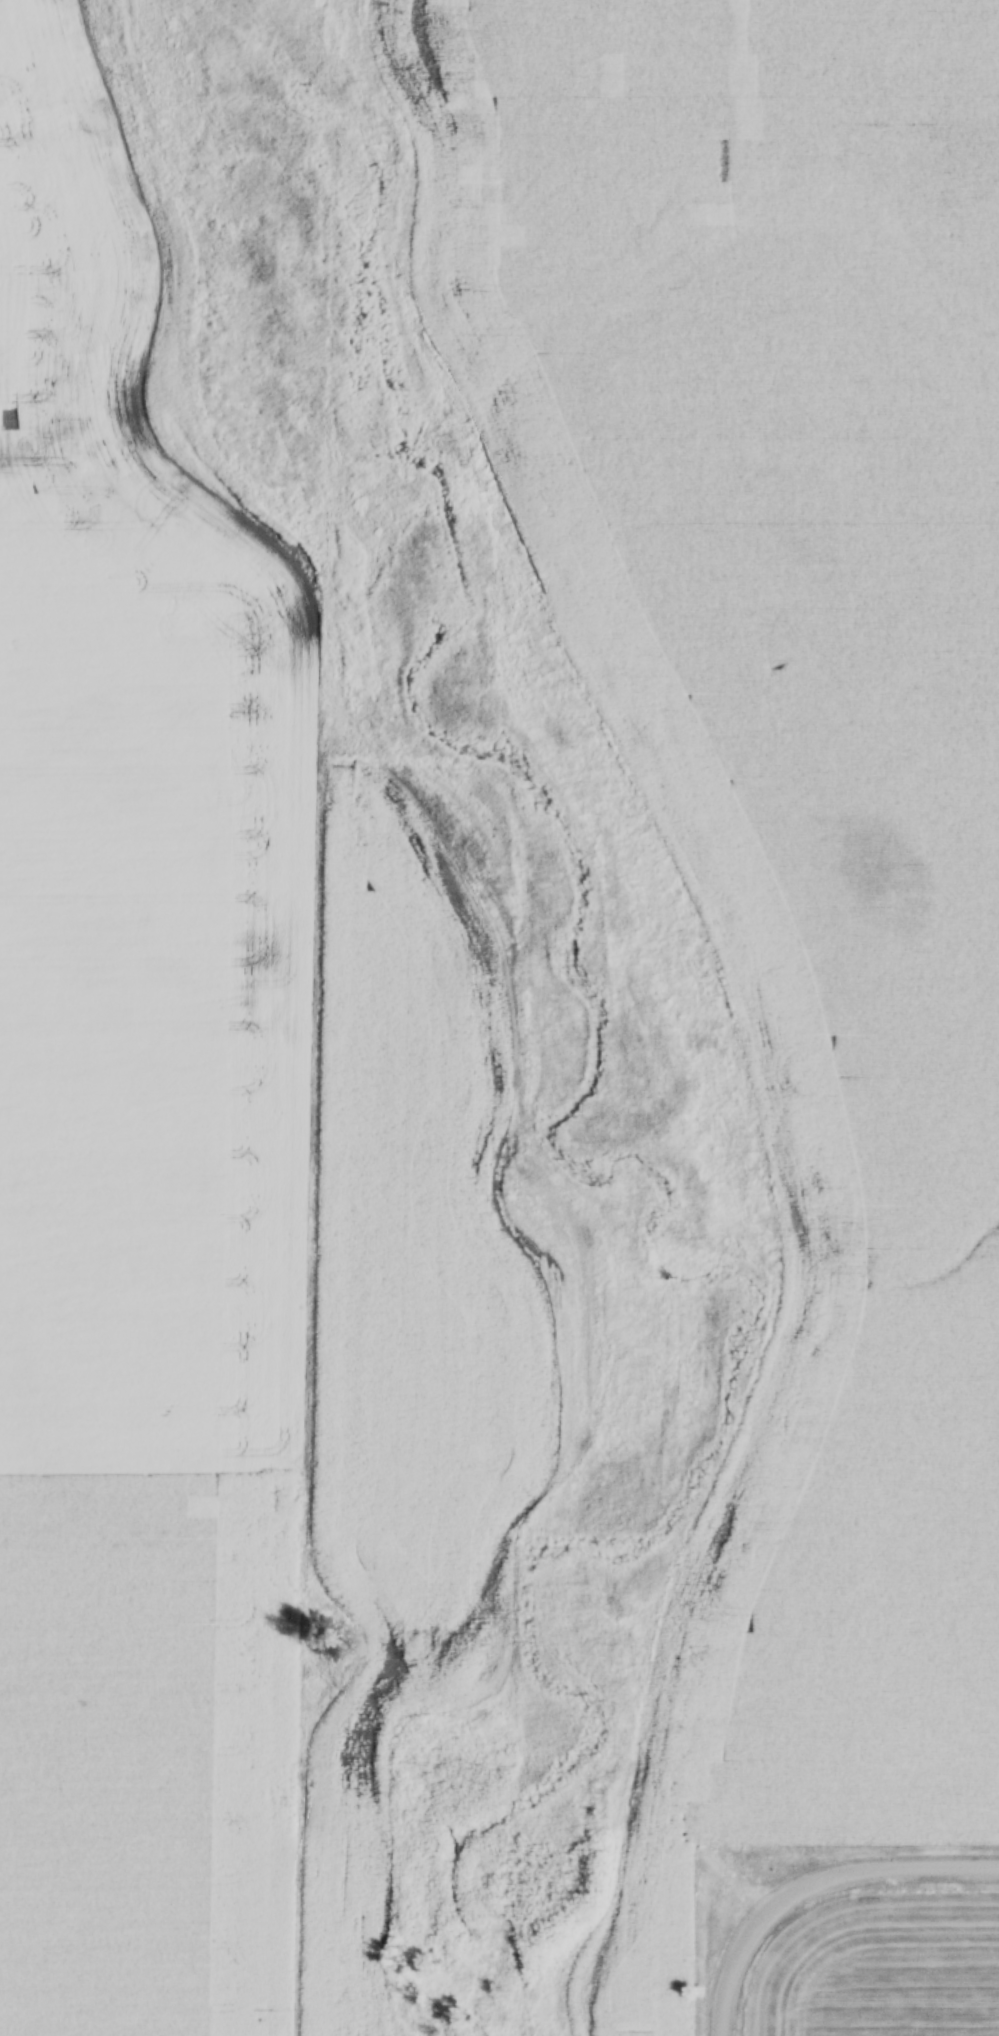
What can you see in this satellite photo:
road: (822, 1880)
road: (722, 2026)

